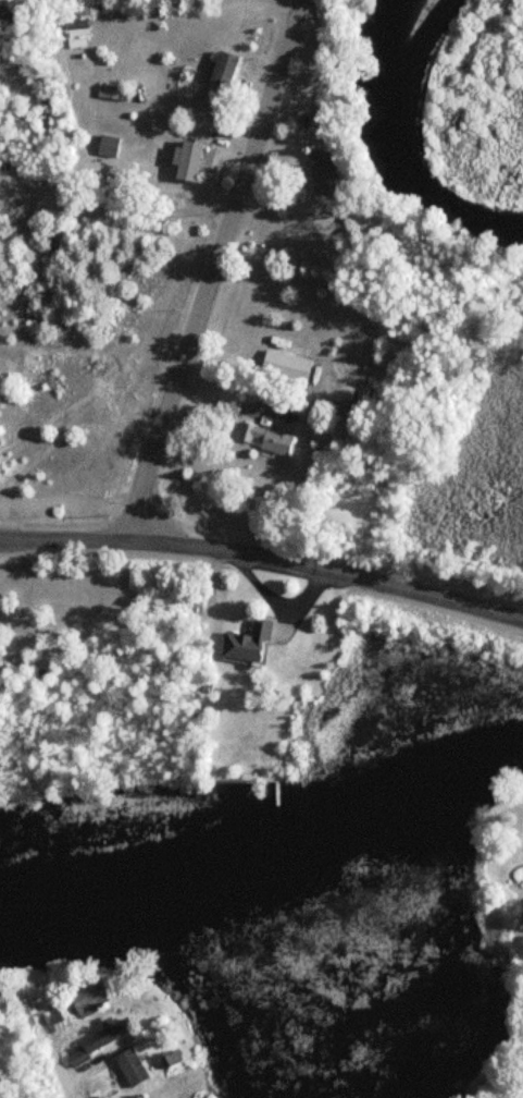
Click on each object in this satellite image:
building: (219, 78)
building: (105, 145)
river: (395, 156)
building: (184, 159)
building: (322, 171)
road: (212, 270)
road: (229, 401)
building: (265, 437)
road: (17, 539)
road: (282, 561)
building: (244, 645)
river: (270, 859)
building: (86, 998)
building: (102, 1037)
building: (128, 1066)
road: (61, 1073)
road: (41, 1089)

